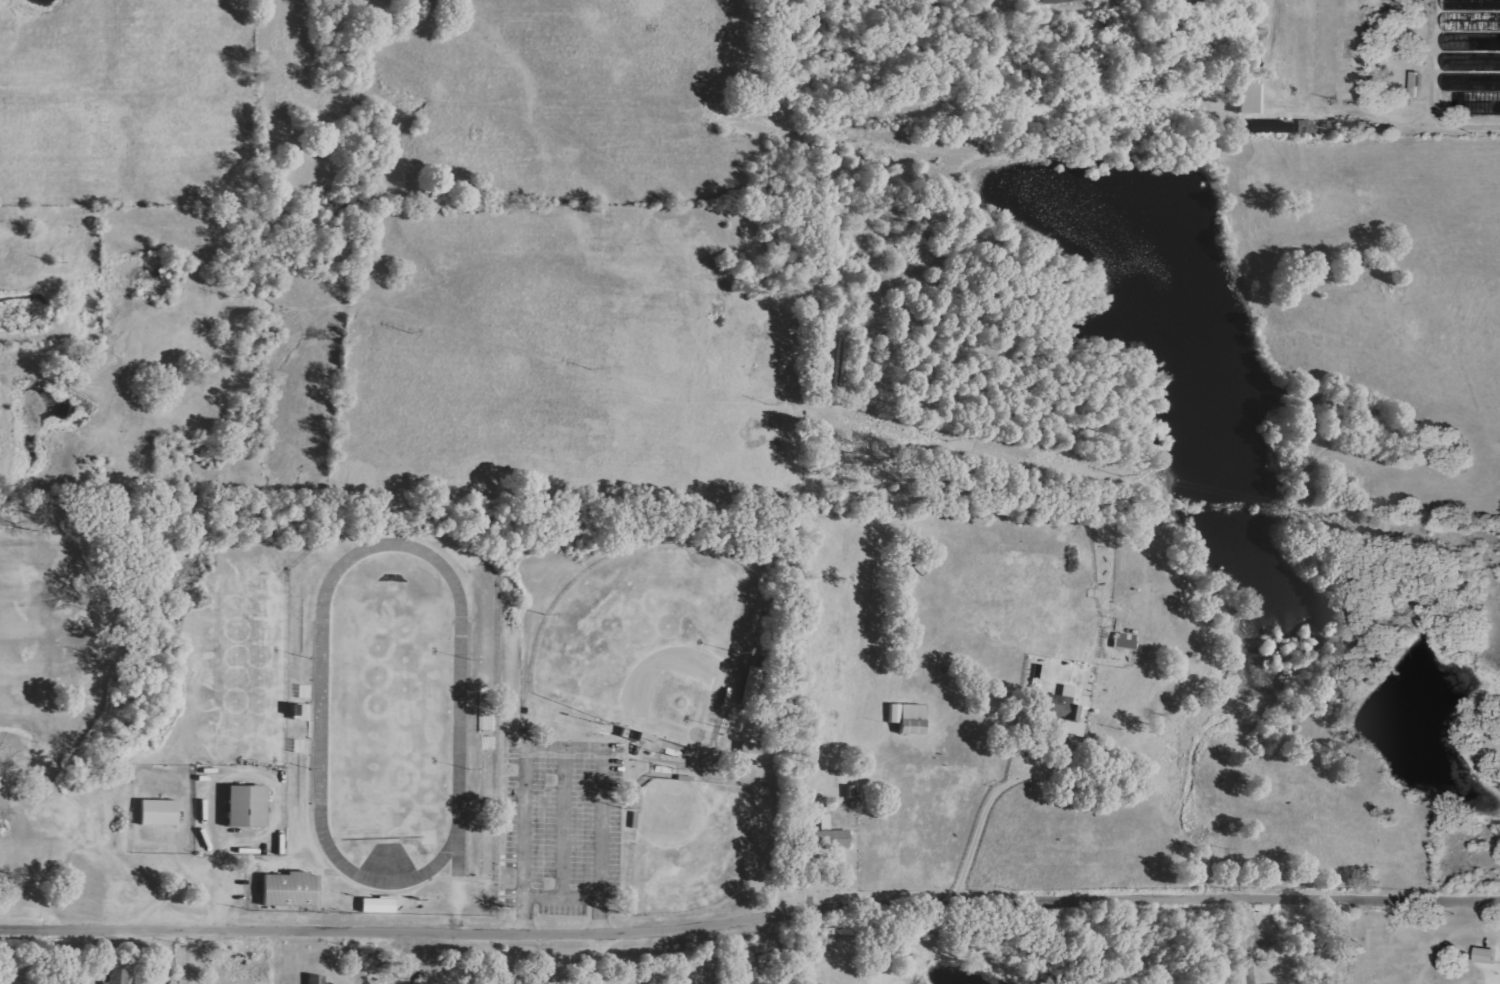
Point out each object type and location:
building: (1062, 1)
building: (1470, 46)
building: (1250, 98)
road: (1466, 122)
park: (646, 639)
building: (1126, 641)
building: (752, 684)
building: (1064, 710)
building: (910, 717)
building: (751, 753)
building: (248, 806)
road: (985, 808)
building: (160, 812)
parking lot: (563, 823)
building: (292, 889)
building: (380, 905)
road: (750, 917)
building: (1277, 949)
building: (1487, 955)
road: (592, 956)
building: (119, 976)
building: (317, 979)

